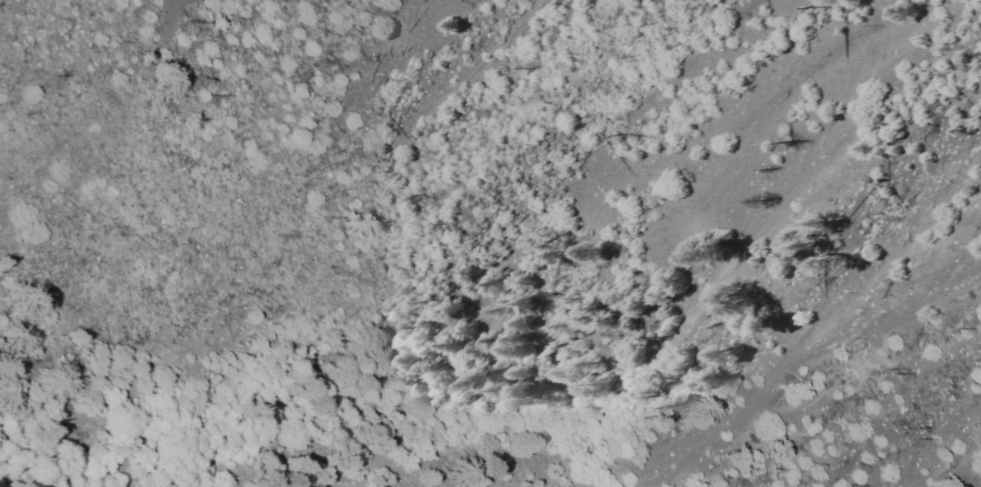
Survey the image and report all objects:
road: (970, 14)
road: (134, 413)

